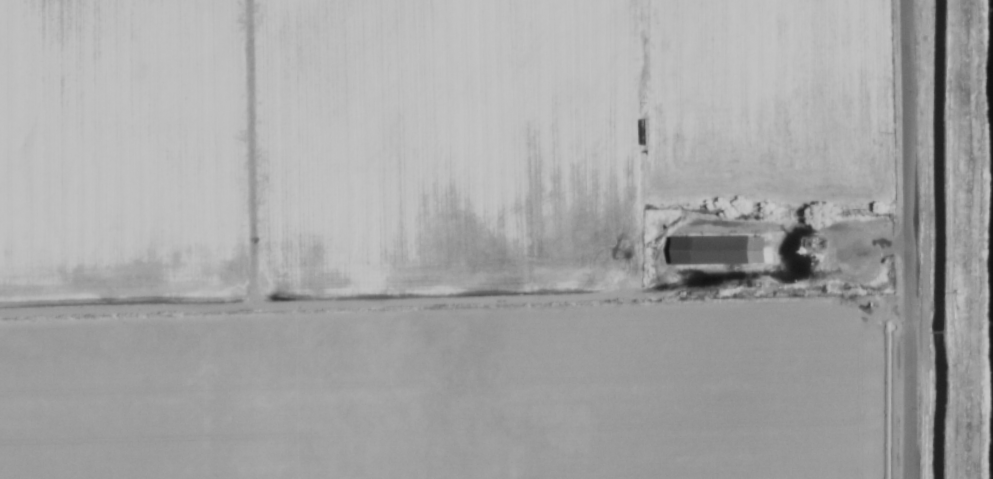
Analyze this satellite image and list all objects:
road: (901, 239)
building: (719, 253)

